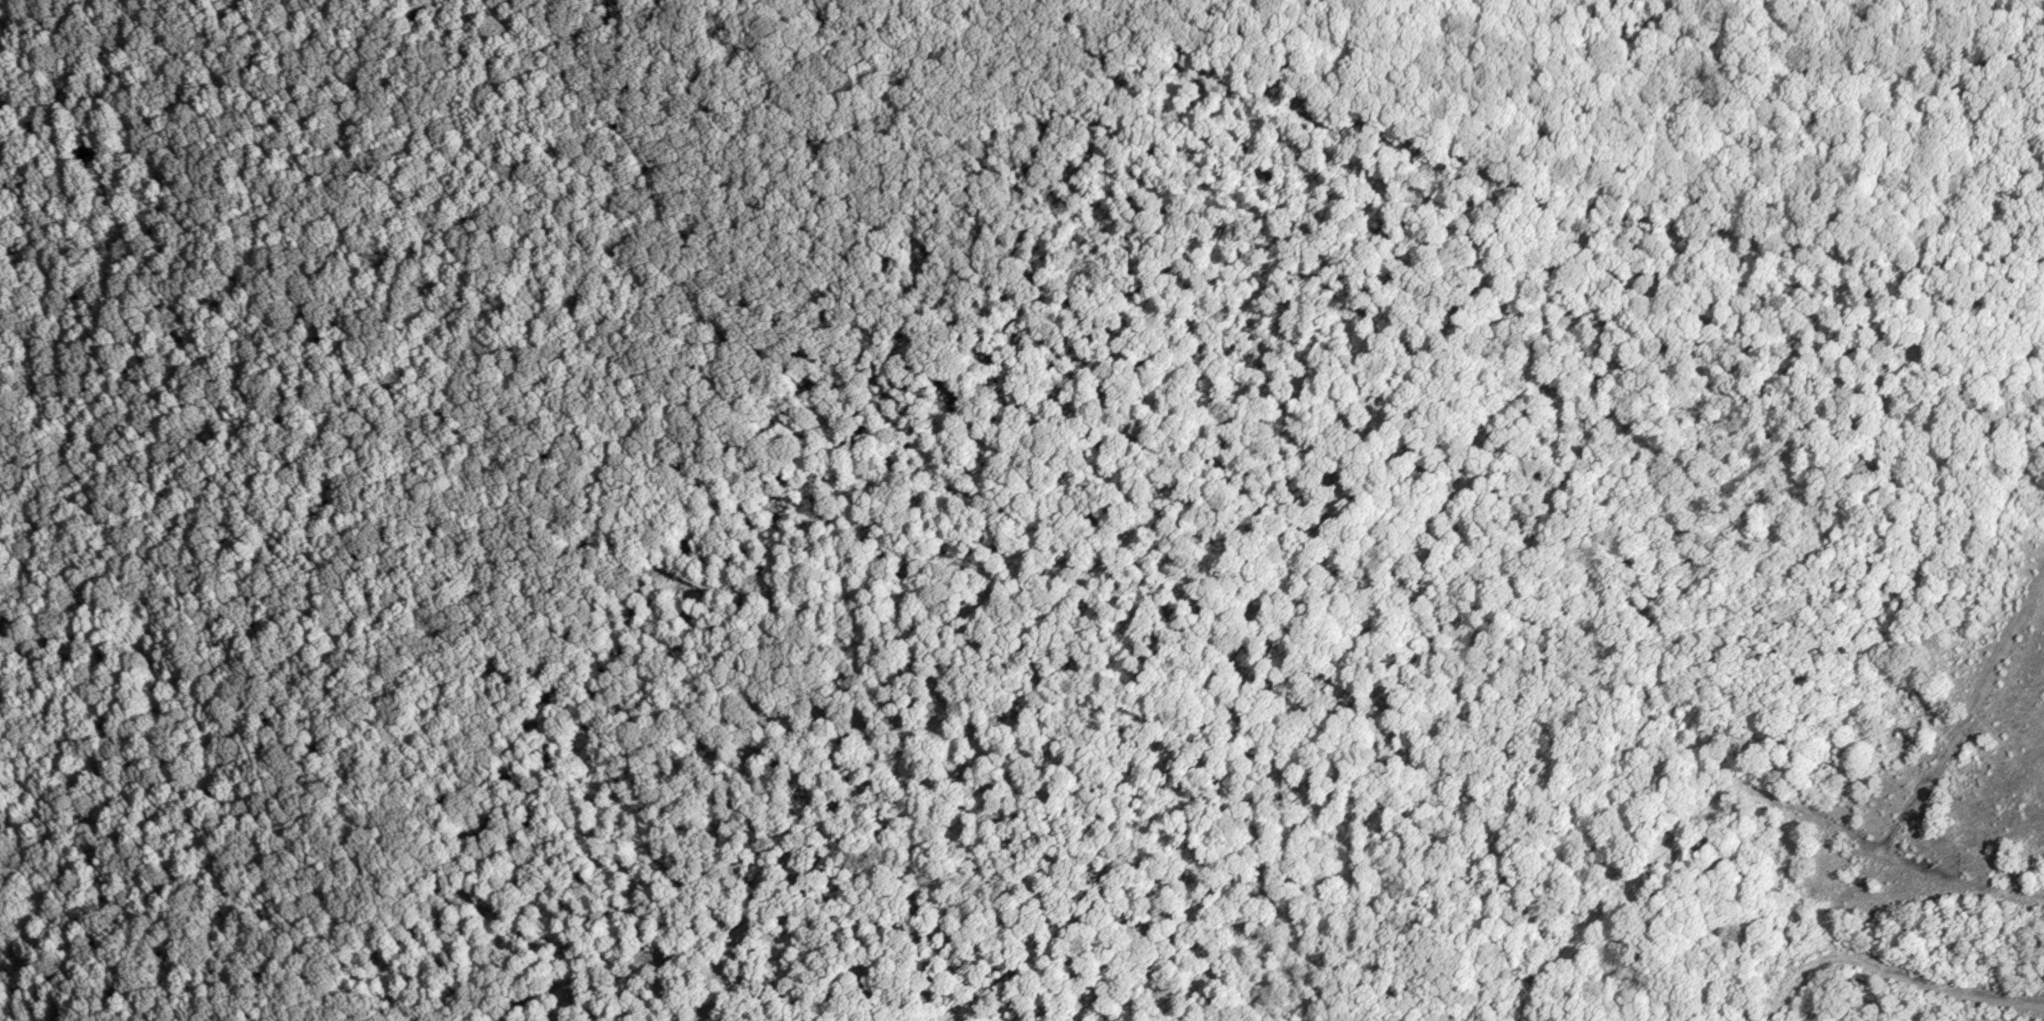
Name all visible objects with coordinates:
road: (1889, 966)

